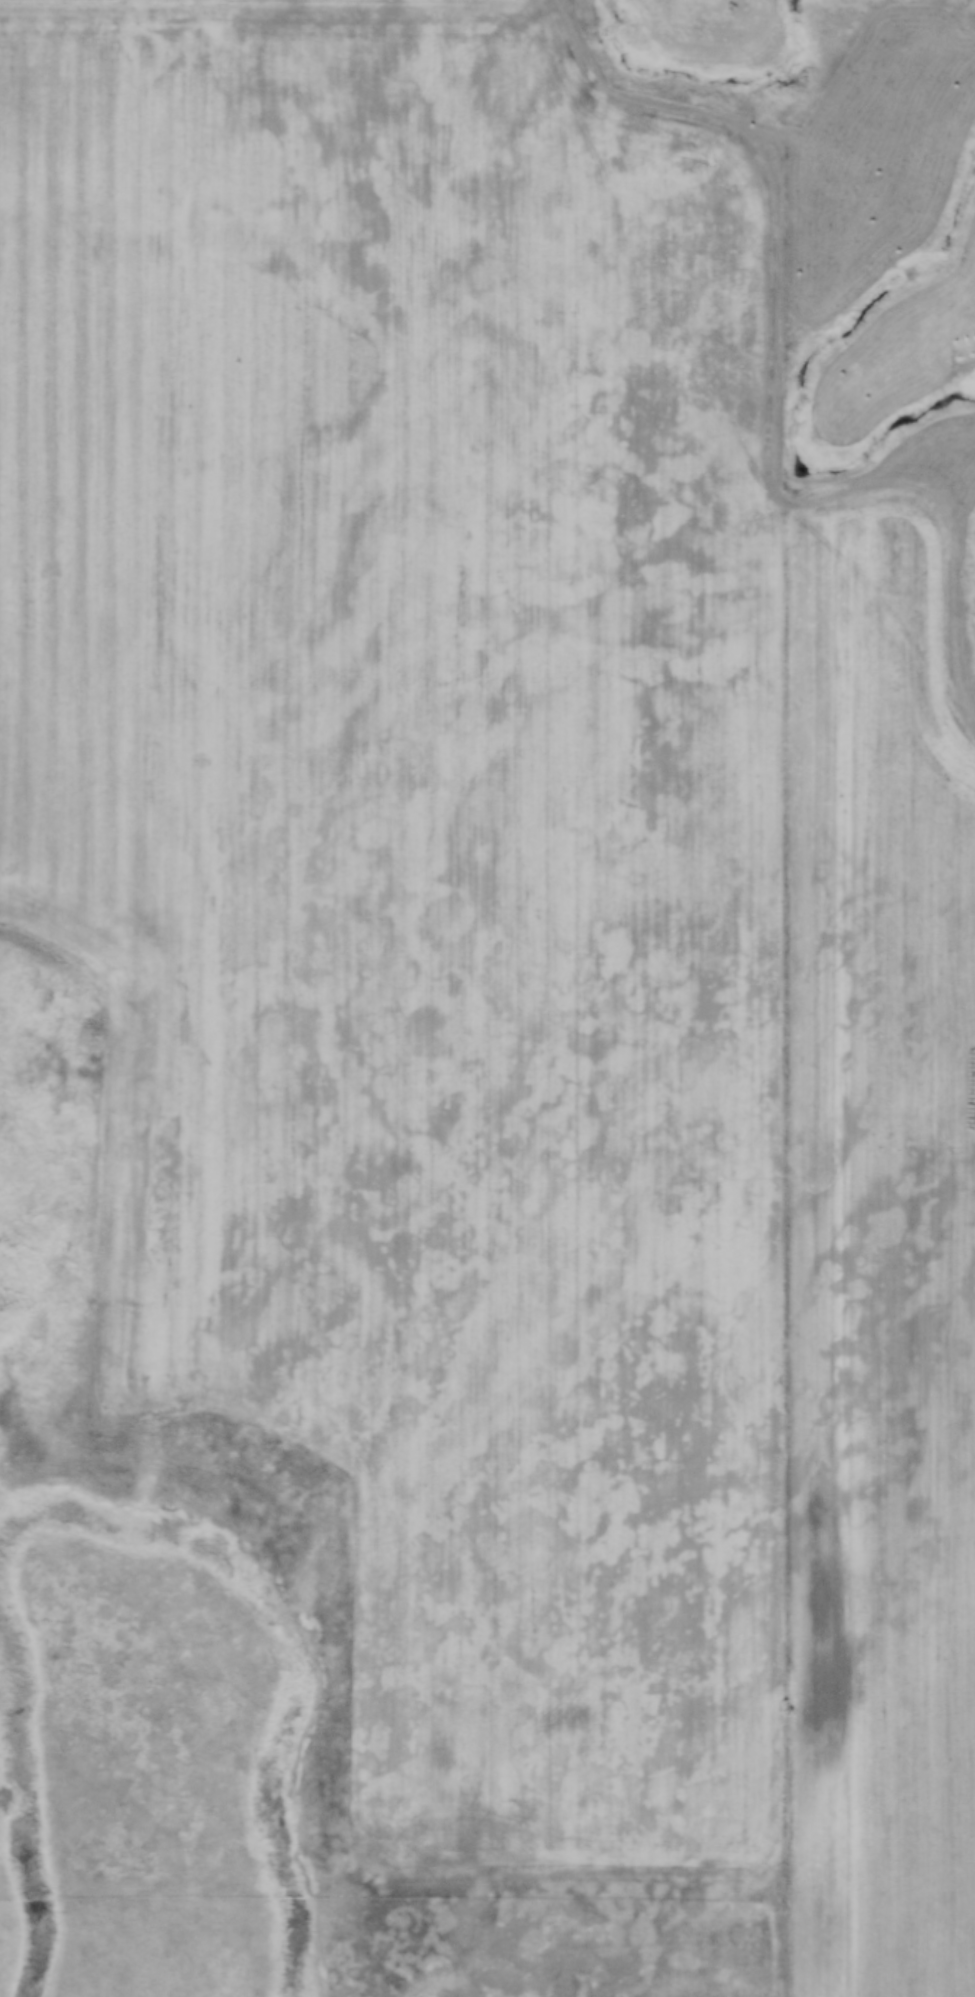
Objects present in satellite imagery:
road: (782, 936)
road: (68, 974)
quarry: (0, 1774)

